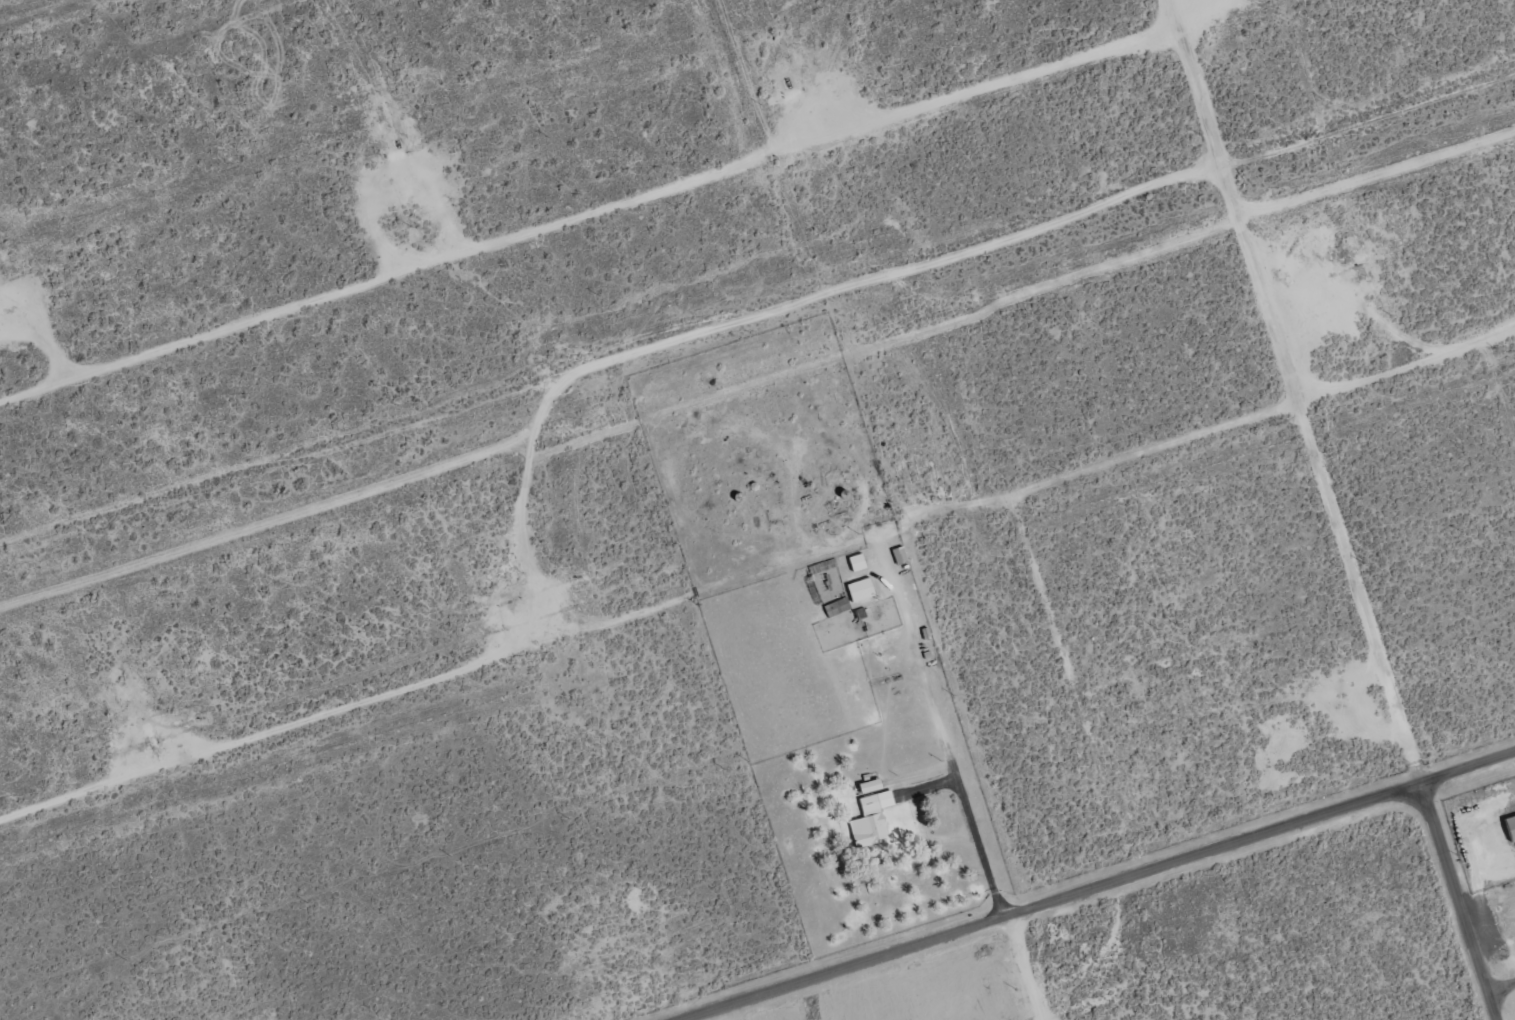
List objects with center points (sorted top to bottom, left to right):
road: (590, 223)
road: (1510, 345)
road: (1292, 391)
road: (753, 585)
building: (863, 589)
road: (1469, 766)
building: (874, 786)
building: (874, 819)
building: (1508, 827)
road: (1060, 898)
road: (1457, 900)
road: (1027, 967)
road: (1499, 987)

